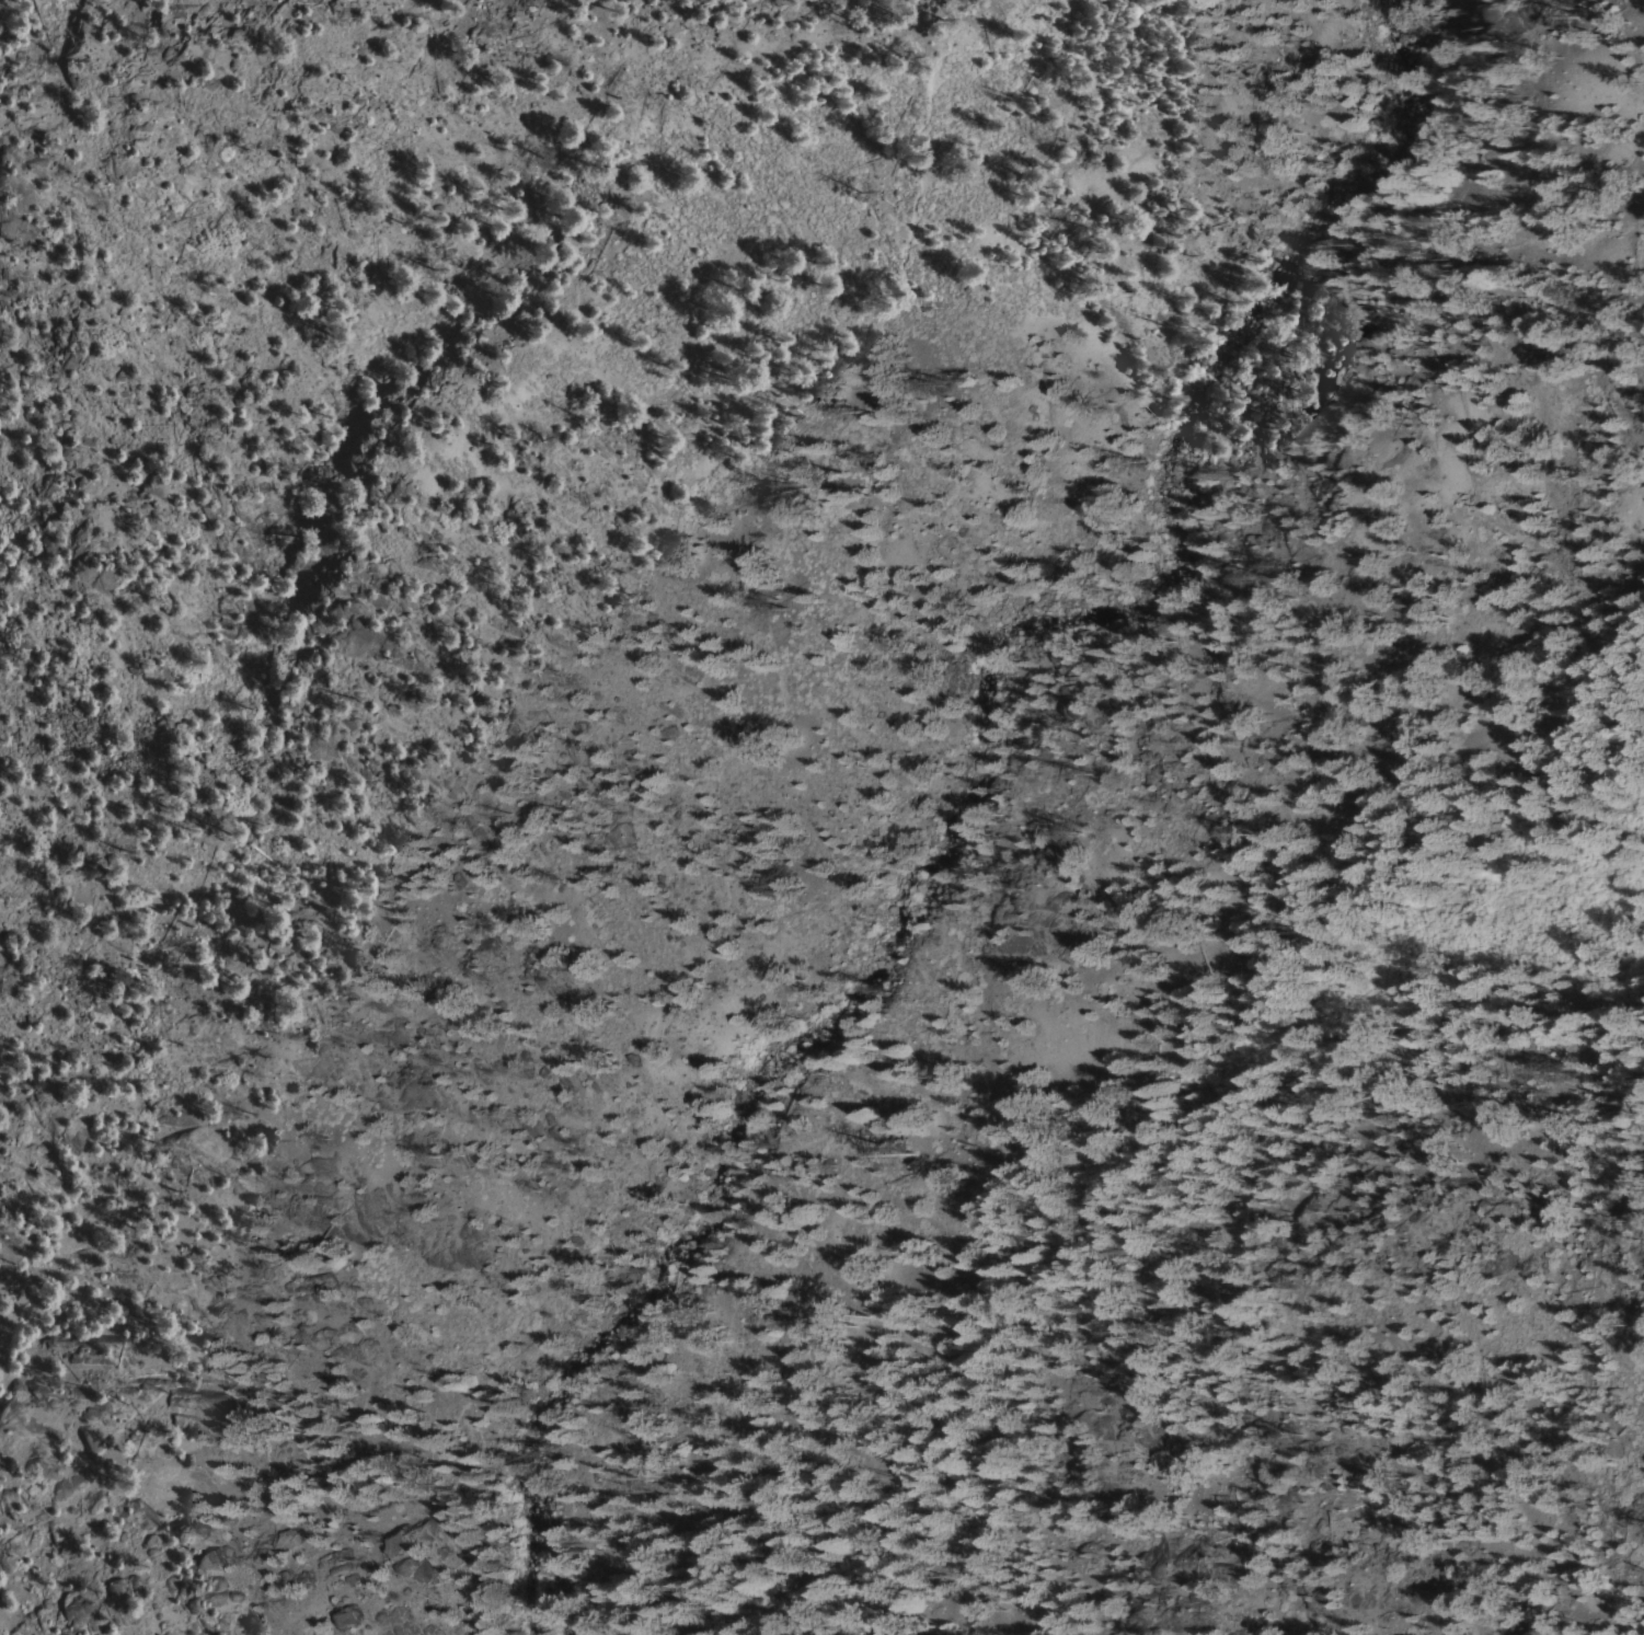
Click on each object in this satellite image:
road: (721, 844)

